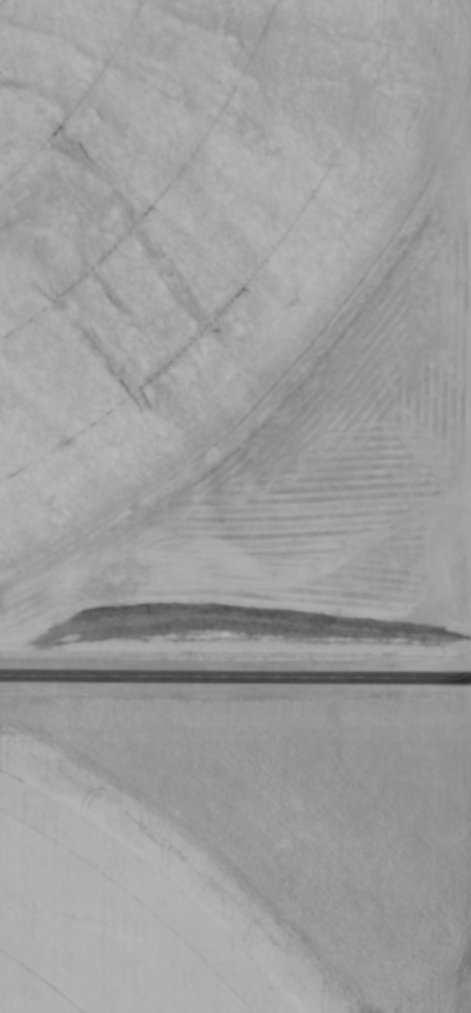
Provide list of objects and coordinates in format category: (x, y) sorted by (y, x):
road: (235, 680)

